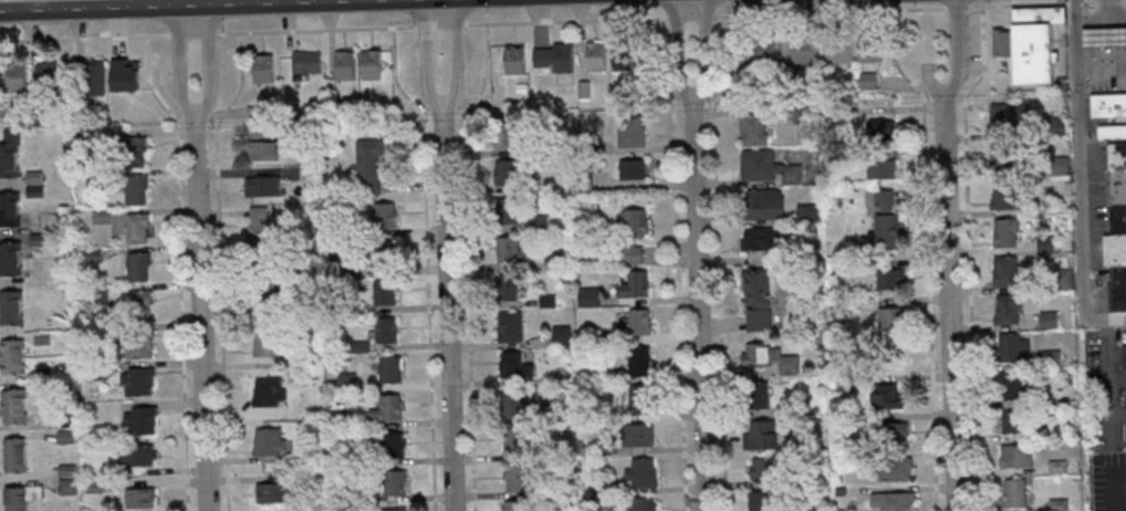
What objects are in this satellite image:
road: (1124, 1)
road: (247, 2)
road: (1045, 4)
road: (72, 8)
road: (957, 8)
road: (831, 11)
road: (1108, 13)
road: (690, 17)
road: (565, 20)
road: (441, 24)
road: (317, 29)
road: (194, 33)
building: (1104, 36)
road: (1109, 36)
road: (84, 38)
building: (1031, 42)
building: (870, 48)
building: (761, 50)
building: (804, 52)
building: (842, 53)
road: (956, 53)
building: (595, 54)
road: (1117, 54)
road: (426, 55)
road: (455, 55)
road: (678, 55)
road: (706, 55)
building: (553, 56)
building: (623, 58)
building: (514, 59)
building: (306, 62)
road: (181, 64)
road: (207, 64)
building: (345, 64)
building: (371, 64)
building: (263, 67)
building: (15, 76)
building: (48, 76)
building: (95, 79)
building: (868, 81)
building: (1107, 105)
building: (1009, 118)
building: (753, 128)
building: (884, 128)
building: (630, 132)
building: (1112, 133)
building: (507, 135)
building: (135, 150)
building: (263, 150)
building: (10, 154)
building: (1004, 156)
building: (369, 167)
building: (770, 167)
building: (882, 169)
building: (633, 171)
building: (505, 173)
road: (1080, 180)
building: (262, 186)
building: (136, 189)
building: (1004, 196)
building: (765, 204)
building: (10, 209)
building: (507, 210)
building: (809, 213)
building: (385, 215)
building: (886, 220)
building: (1117, 223)
building: (137, 228)
building: (259, 228)
building: (1005, 232)
building: (634, 234)
building: (761, 238)
building: (510, 250)
building: (386, 252)
road: (928, 255)
road: (969, 255)
building: (11, 258)
road: (718, 258)
road: (467, 262)
road: (678, 262)
road: (427, 264)
building: (138, 267)
road: (220, 268)
road: (179, 269)
building: (1005, 272)
building: (890, 280)
building: (635, 285)
building: (507, 290)
building: (385, 291)
building: (758, 299)
building: (140, 302)
building: (11, 306)
road: (950, 306)
road: (449, 307)
building: (1009, 309)
road: (699, 310)
road: (201, 316)
building: (890, 319)
building: (1050, 321)
building: (639, 323)
building: (510, 327)
building: (386, 330)
building: (140, 344)
building: (268, 345)
building: (1014, 347)
building: (757, 355)
building: (12, 356)
building: (1052, 357)
building: (640, 363)
building: (789, 364)
building: (515, 365)
building: (392, 368)
building: (1125, 372)
road: (1106, 373)
building: (138, 380)
building: (1012, 386)
building: (270, 392)
building: (758, 395)
building: (888, 396)
building: (639, 399)
building: (14, 405)
building: (517, 405)
building: (388, 408)
building: (140, 419)
building: (1014, 424)
building: (640, 435)
building: (762, 435)
building: (895, 435)
building: (271, 441)
building: (515, 441)
building: (395, 445)
building: (15, 453)
building: (140, 455)
building: (1015, 457)
building: (763, 467)
building: (895, 469)
building: (642, 472)
building: (67, 479)
building: (520, 481)
building: (394, 484)
building: (271, 490)
building: (22, 497)
building: (140, 497)
building: (1013, 497)
building: (763, 501)
building: (895, 501)
building: (644, 503)
building: (515, 505)
road: (1117, 507)
building: (394, 509)

